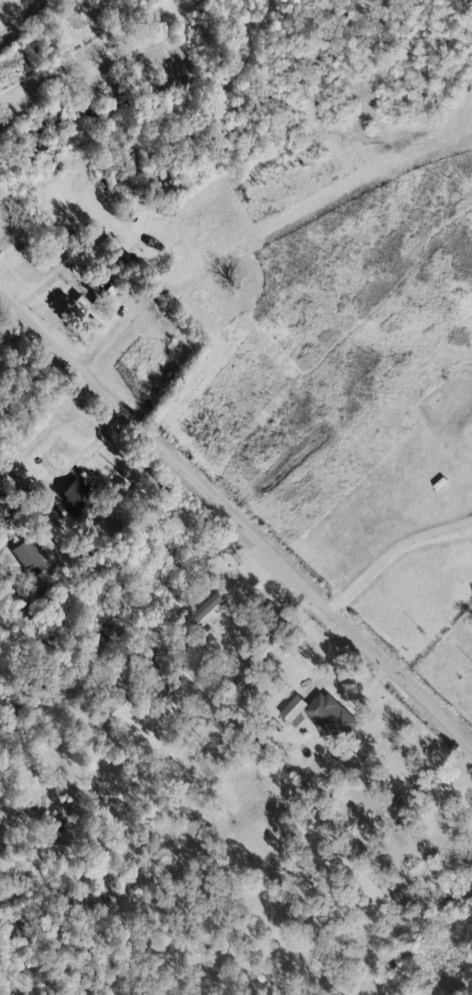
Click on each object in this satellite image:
building: (97, 275)
building: (87, 310)
building: (70, 493)
road: (236, 520)
building: (25, 556)
building: (205, 605)
building: (316, 713)
road: (436, 783)

